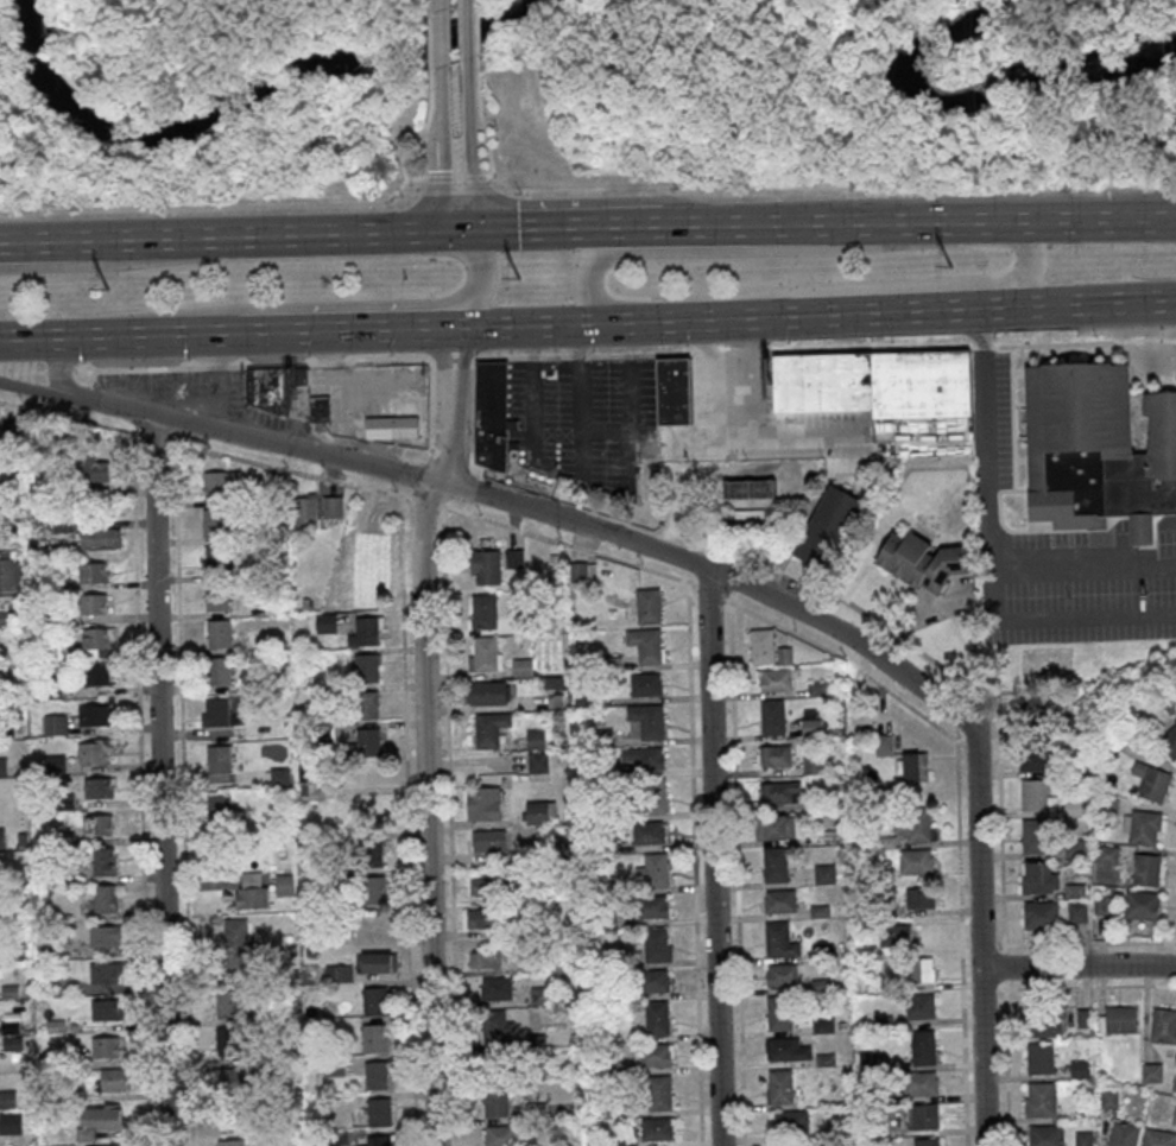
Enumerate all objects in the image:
road: (467, 27)
road: (481, 27)
road: (440, 32)
road: (431, 34)
river: (251, 86)
road: (432, 86)
river: (976, 90)
road: (482, 118)
road: (409, 139)
road: (469, 143)
road: (437, 150)
road: (474, 177)
road: (457, 178)
road: (438, 179)
road: (217, 205)
road: (1043, 220)
road: (784, 224)
road: (567, 227)
traffic signals: (461, 228)
road: (289, 233)
road: (52, 240)
road: (719, 249)
road: (89, 264)
power tower: (953, 272)
power tower: (520, 283)
road: (889, 285)
power tower: (108, 295)
road: (1089, 302)
road: (354, 304)
road: (1139, 305)
road: (903, 310)
road: (652, 319)
road: (373, 329)
road: (121, 336)
road: (607, 355)
road: (56, 366)
building: (270, 382)
building: (820, 382)
building: (917, 384)
road: (31, 388)
building: (671, 391)
parking lot: (190, 392)
road: (208, 394)
road: (702, 397)
parking lot: (575, 405)
building: (316, 407)
building: (488, 413)
road: (554, 425)
building: (387, 426)
road: (624, 426)
building: (6, 428)
road: (738, 437)
road: (532, 445)
building: (1094, 449)
building: (94, 469)
building: (216, 483)
building: (747, 488)
building: (230, 492)
building: (271, 492)
building: (329, 506)
building: (303, 512)
road: (538, 513)
building: (746, 517)
road: (984, 518)
building: (59, 523)
building: (213, 523)
building: (826, 527)
building: (94, 539)
building: (358, 547)
building: (551, 557)
building: (512, 558)
building: (215, 559)
building: (918, 561)
building: (482, 565)
building: (10, 569)
building: (90, 571)
building: (575, 571)
road: (691, 580)
building: (361, 583)
building: (49, 584)
parking lot: (1076, 585)
building: (215, 596)
building: (301, 602)
building: (90, 603)
building: (646, 606)
building: (481, 613)
building: (56, 614)
building: (7, 618)
building: (323, 622)
building: (524, 623)
building: (362, 631)
building: (216, 632)
building: (94, 637)
building: (644, 644)
building: (280, 645)
building: (759, 646)
building: (51, 650)
building: (483, 654)
building: (783, 656)
building: (605, 664)
building: (520, 666)
building: (365, 667)
building: (216, 670)
building: (94, 673)
building: (773, 678)
building: (552, 683)
building: (643, 684)
building: (815, 688)
building: (50, 689)
building: (487, 692)
building: (554, 699)
building: (1165, 701)
building: (363, 704)
building: (233, 710)
building: (214, 711)
building: (1030, 713)
building: (90, 715)
building: (770, 717)
building: (645, 720)
building: (51, 723)
building: (1071, 724)
building: (809, 727)
building: (487, 728)
building: (322, 733)
road: (428, 733)
building: (1108, 735)
building: (601, 736)
building: (533, 737)
building: (1168, 741)
building: (363, 743)
building: (881, 743)
building: (90, 752)
building: (1032, 754)
building: (773, 755)
building: (641, 758)
building: (216, 759)
building: (52, 762)
building: (536, 762)
building: (1, 765)
building: (810, 765)
building: (34, 767)
building: (911, 767)
building: (603, 772)
building: (277, 775)
road: (162, 779)
building: (305, 780)
building: (1149, 781)
building: (95, 786)
building: (778, 792)
building: (652, 796)
building: (1033, 796)
building: (61, 800)
building: (824, 800)
building: (479, 803)
building: (1105, 806)
building: (1074, 808)
building: (219, 809)
building: (603, 809)
building: (538, 812)
building: (95, 824)
building: (912, 824)
building: (772, 827)
building: (1142, 827)
building: (646, 831)
building: (830, 835)
building: (1033, 836)
building: (0, 837)
building: (19, 837)
building: (56, 838)
building: (486, 840)
building: (884, 842)
building: (598, 846)
building: (1073, 847)
building: (367, 851)
building: (1104, 854)
road: (714, 856)
building: (100, 860)
building: (912, 861)
building: (773, 865)
building: (1079, 868)
building: (651, 869)
building: (1144, 869)
building: (822, 873)
building: (881, 873)
building: (19, 878)
building: (49, 878)
building: (249, 879)
building: (1036, 880)
building: (483, 884)
building: (278, 885)
building: (606, 885)
building: (371, 889)
building: (1071, 891)
building: (249, 897)
building: (102, 898)
building: (918, 898)
building: (777, 900)
building: (883, 904)
building: (291, 905)
building: (652, 905)
building: (1096, 905)
building: (1107, 905)
building: (1139, 905)
building: (817, 911)
building: (1074, 912)
building: (1038, 914)
building: (1, 916)
building: (36, 916)
building: (482, 917)
building: (602, 918)
building: (213, 919)
building: (102, 933)
building: (897, 935)
road: (980, 936)
building: (777, 939)
building: (655, 944)
building: (233, 950)
building: (821, 950)
building: (38, 951)
building: (11, 952)
building: (482, 958)
building: (371, 961)
building: (529, 962)
road: (1079, 967)
building: (918, 968)
building: (337, 970)
building: (102, 971)
building: (779, 974)
building: (651, 981)
building: (818, 983)
building: (878, 986)
building: (494, 988)
building: (7, 990)
building: (537, 994)
building: (373, 1000)
building: (226, 1002)
building: (917, 1006)
building: (102, 1008)
building: (776, 1013)
building: (655, 1018)
building: (1080, 1018)
building: (1118, 1019)
building: (880, 1020)
building: (1041, 1022)
building: (820, 1024)
building: (839, 1024)
building: (52, 1025)
building: (7, 1026)
building: (493, 1026)
building: (1162, 1026)
building: (372, 1038)
building: (533, 1039)
building: (226, 1040)
building: (10, 1043)
building: (106, 1046)
building: (921, 1047)
building: (784, 1050)
building: (650, 1055)
building: (55, 1058)
building: (822, 1058)
building: (1037, 1058)
building: (866, 1060)
building: (494, 1062)
building: (606, 1064)
building: (331, 1065)
building: (1077, 1069)
building: (533, 1071)
building: (1149, 1072)
building: (373, 1075)
building: (242, 1076)
building: (225, 1078)
building: (110, 1079)
building: (1172, 1082)
building: (917, 1083)
building: (778, 1087)
building: (657, 1093)
building: (71, 1096)
building: (7, 1097)
building: (873, 1097)
building: (1106, 1098)
building: (493, 1100)
building: (1038, 1100)
building: (612, 1109)
building: (532, 1110)
building: (377, 1112)
building: (1174, 1114)
building: (100, 1116)
building: (921, 1116)
building: (10, 1121)
building: (788, 1122)
building: (653, 1129)
building: (82, 1134)
building: (1120, 1134)
building: (498, 1135)
building: (1043, 1135)
building: (334, 1138)
building: (1081, 1138)
building: (1156, 1138)
building: (378, 1140)
building: (229, 1141)
building: (624, 1141)
building: (923, 1141)
building: (586, 1144)
building: (102, 1145)
building: (872, 1145)

